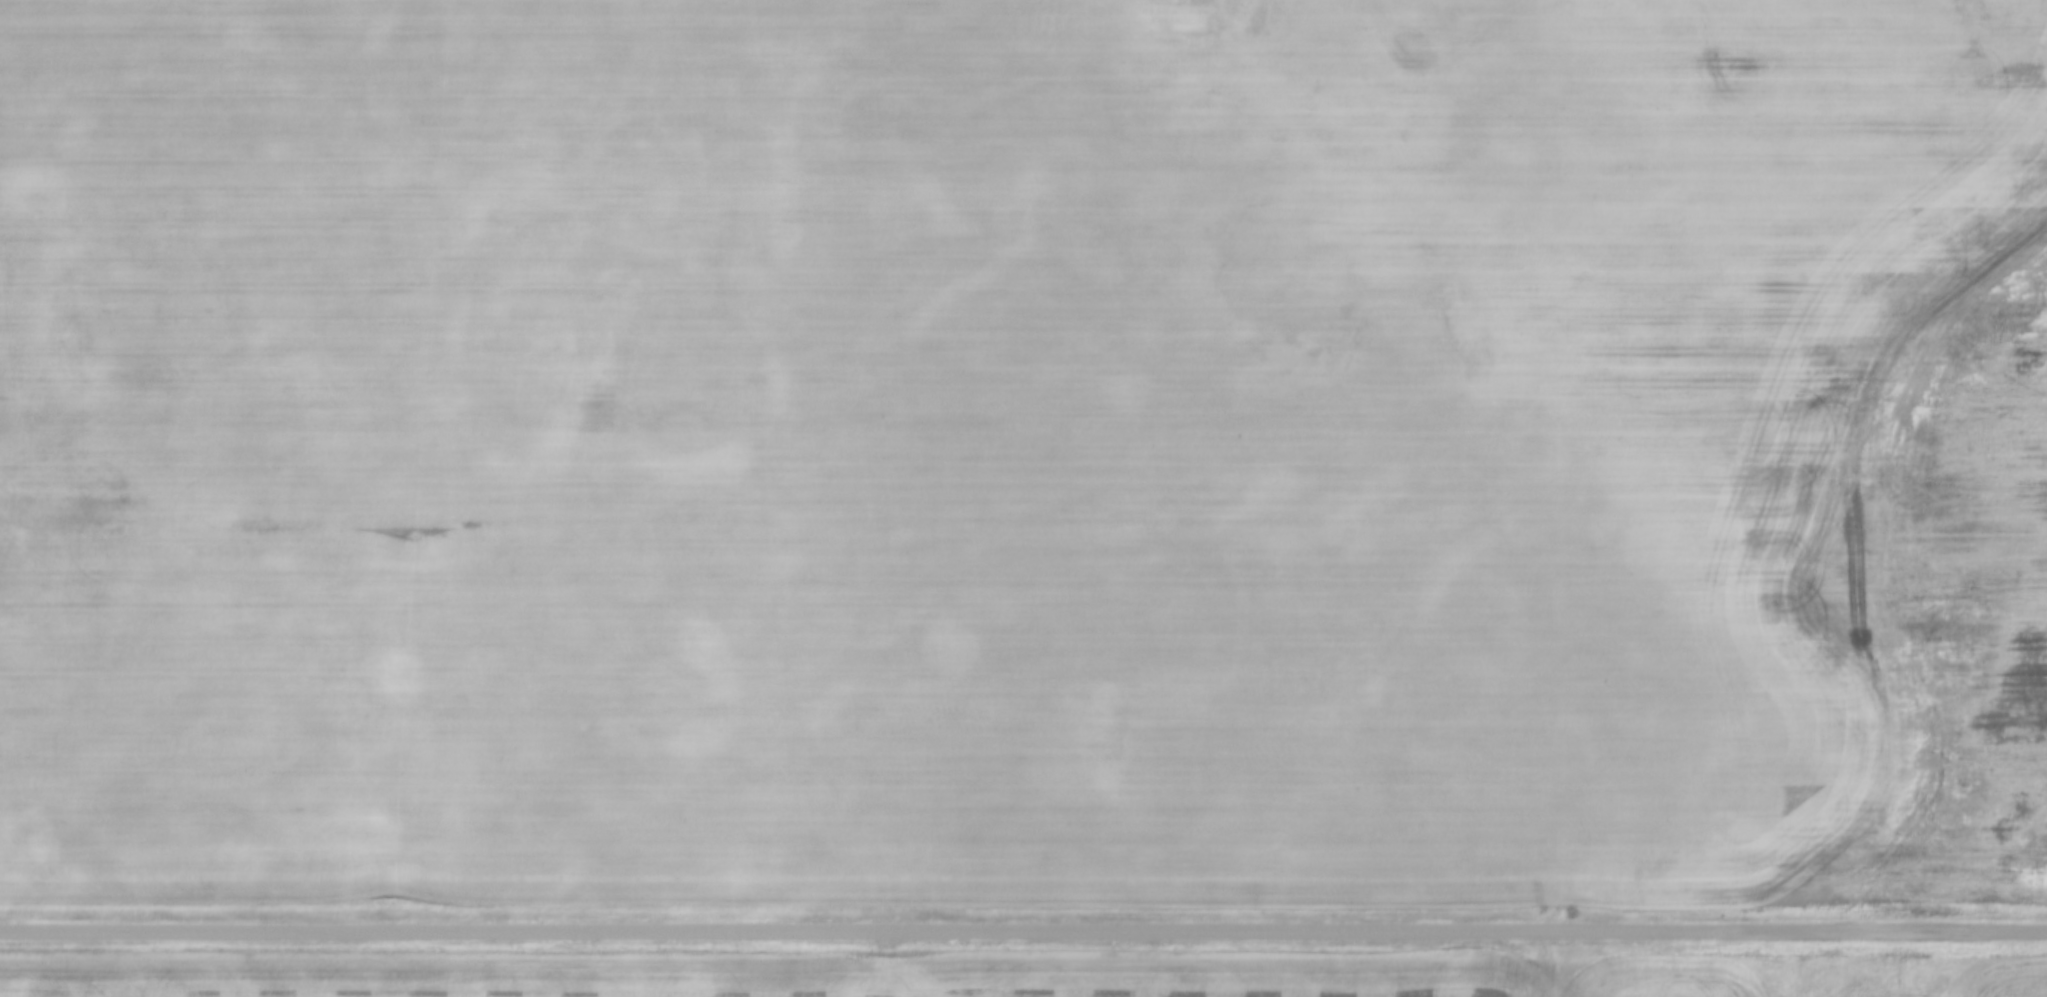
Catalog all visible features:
road: (1023, 930)

